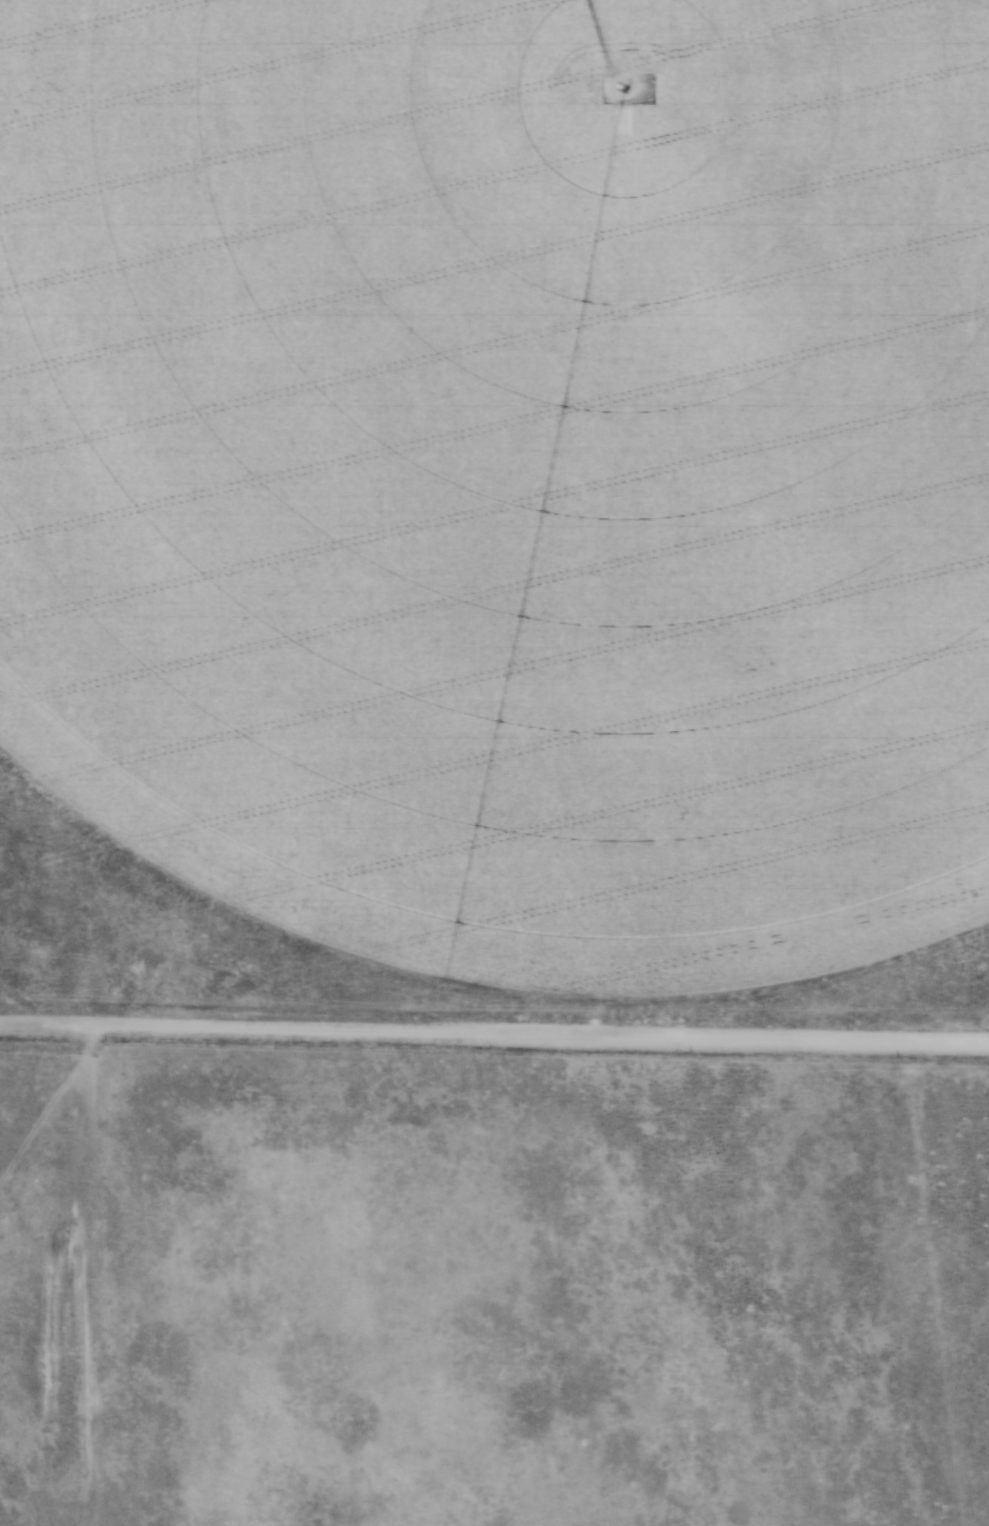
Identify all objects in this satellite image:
crop: (509, 470)
road: (494, 1037)

